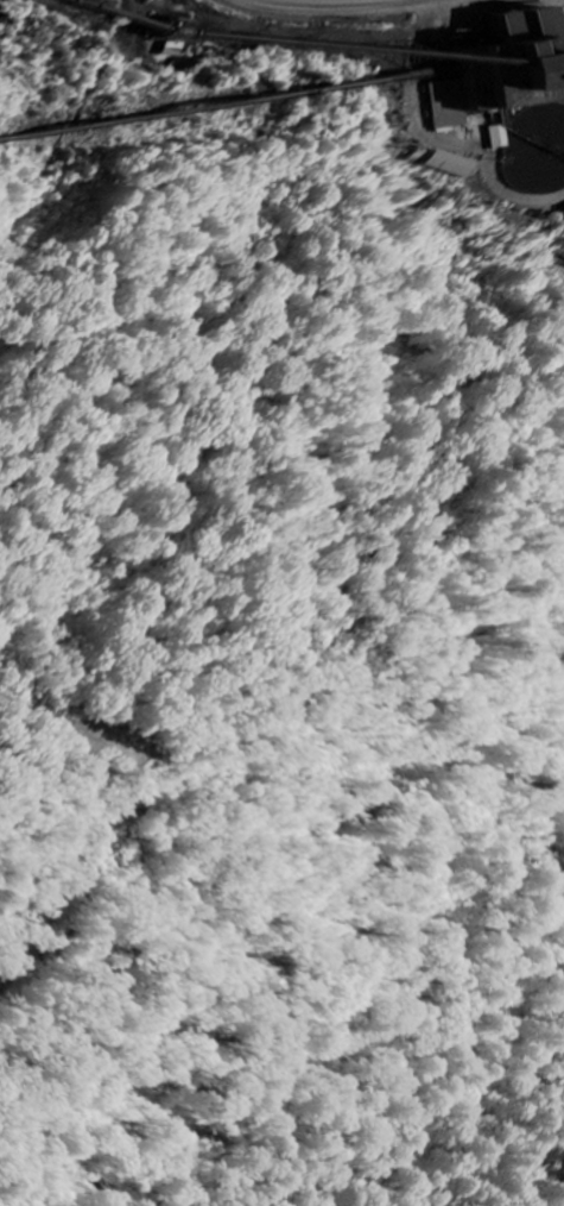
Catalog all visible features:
road: (350, 52)
building: (493, 74)
building: (534, 149)

